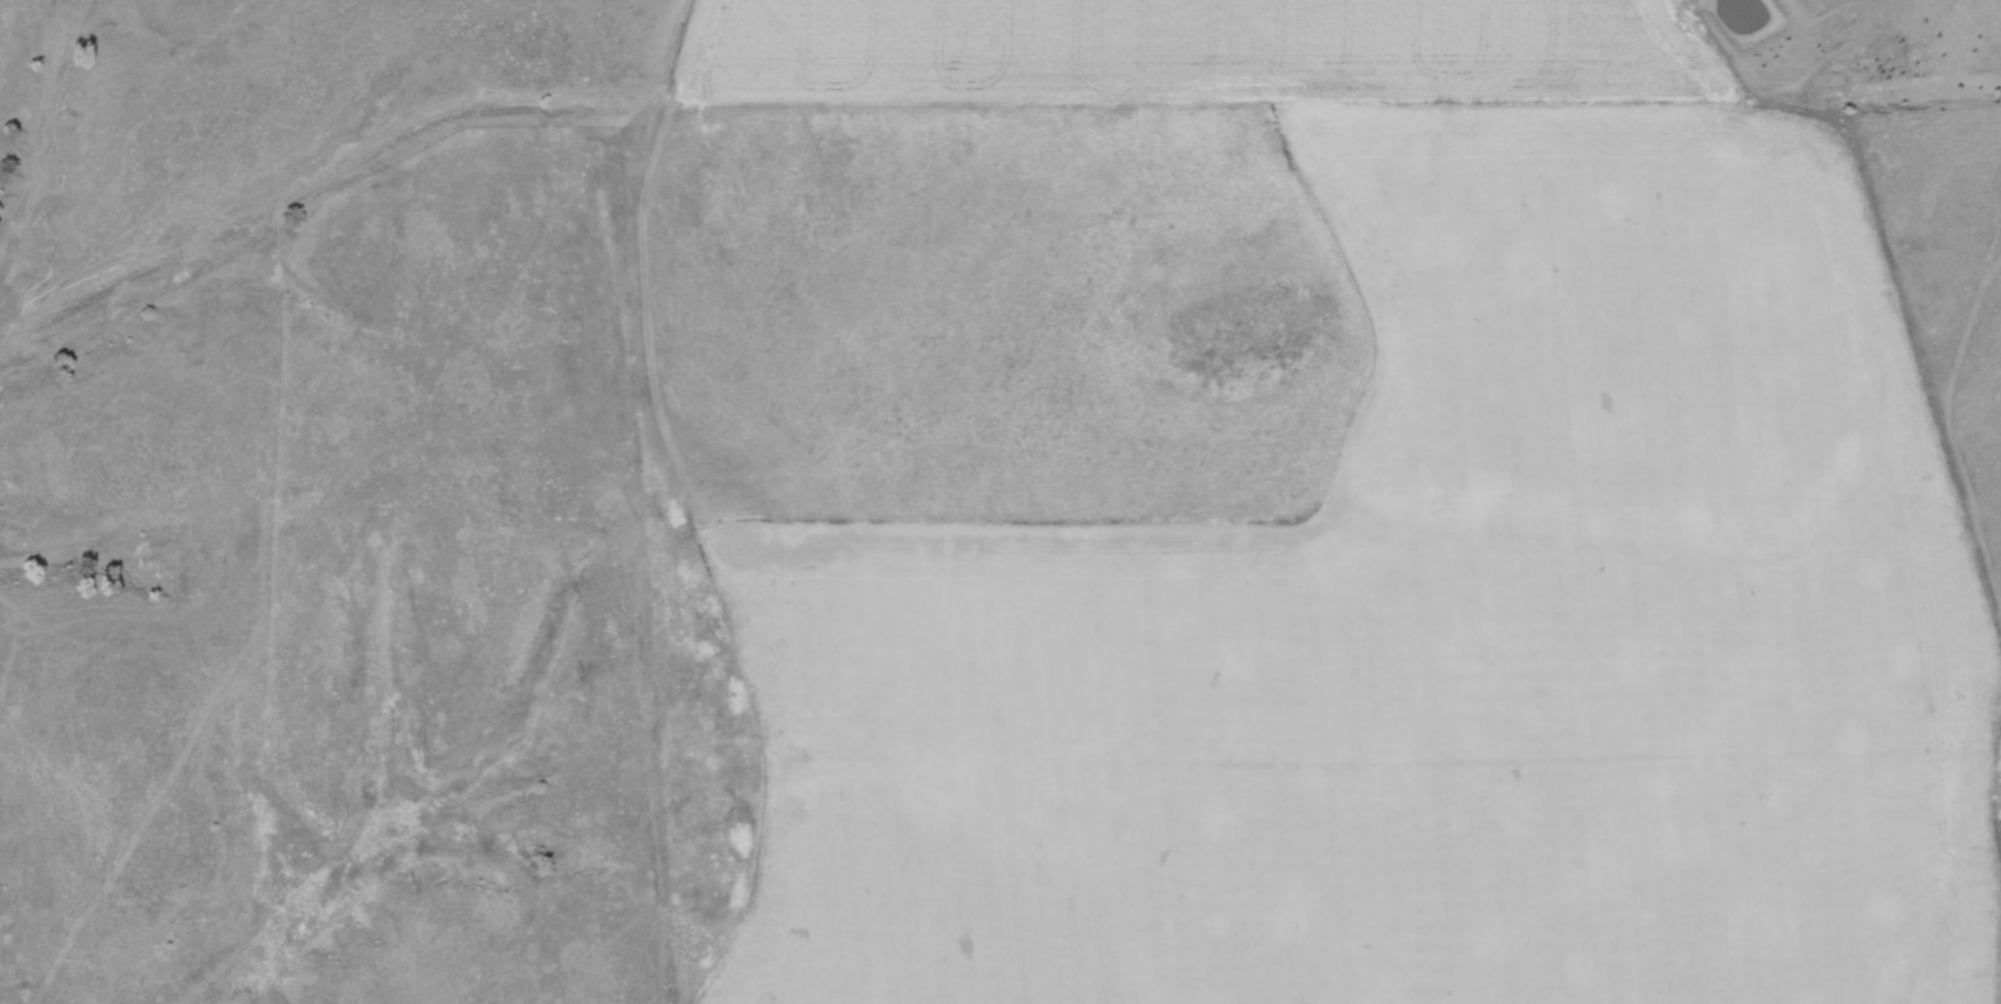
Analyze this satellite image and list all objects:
crop: (1214, 50)
crop: (1442, 637)

